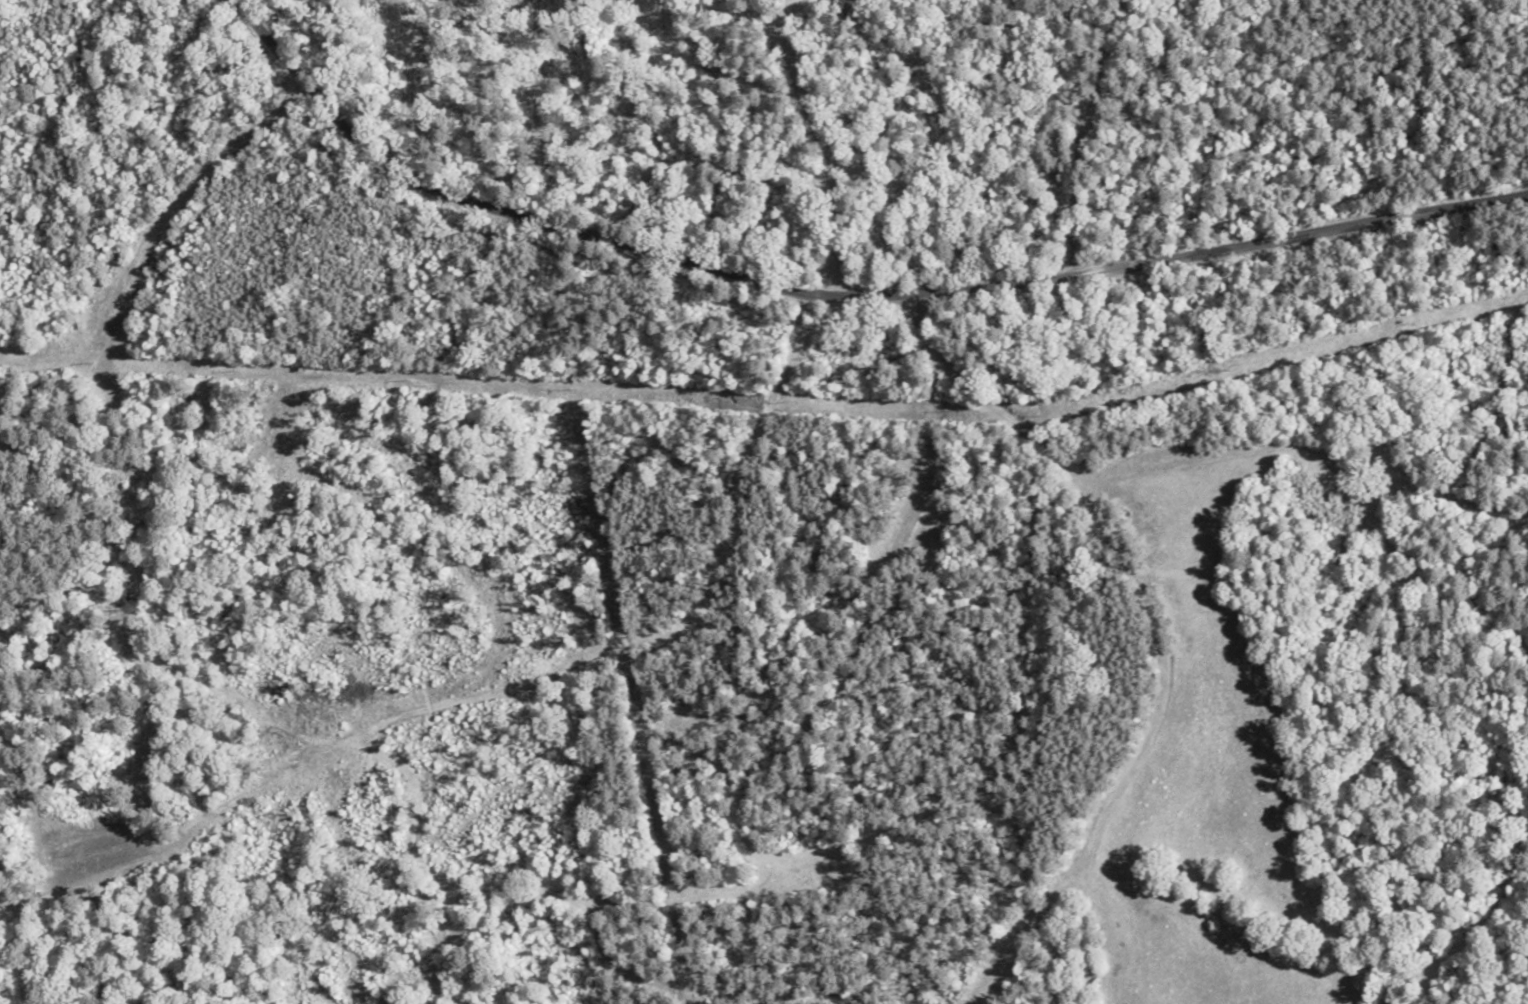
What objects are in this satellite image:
road: (840, 291)
road: (1154, 615)

